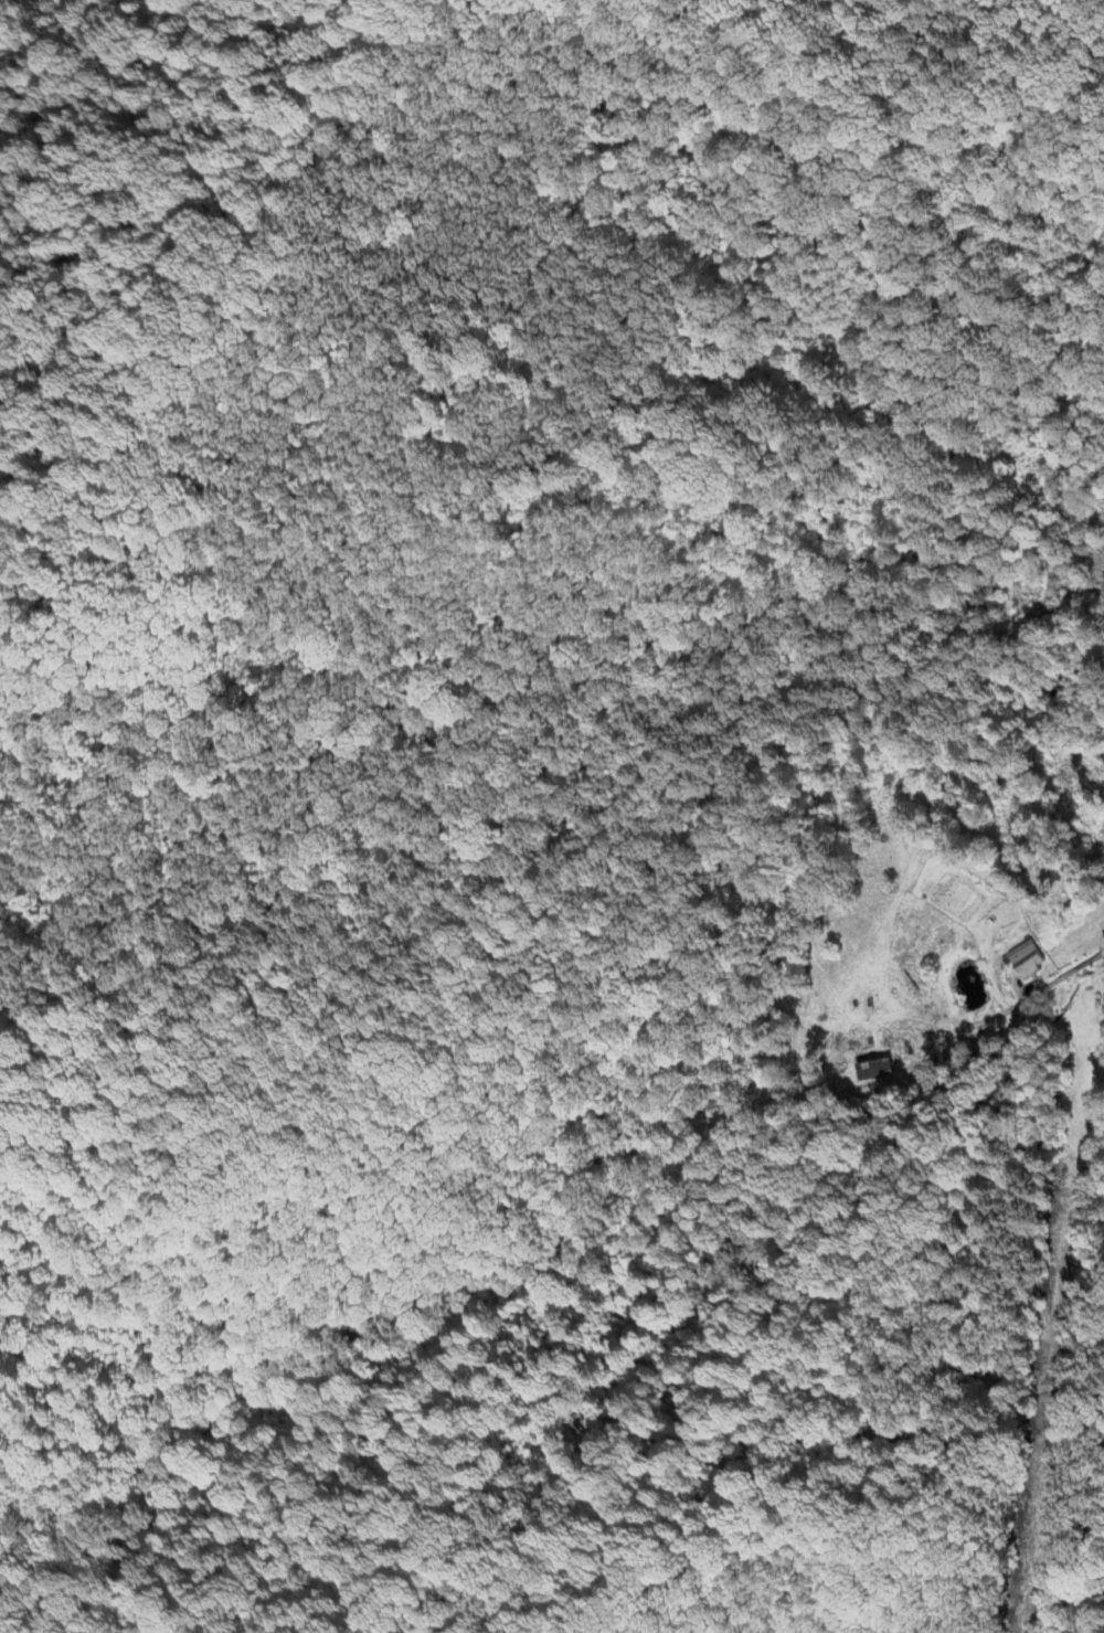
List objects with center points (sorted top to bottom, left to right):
building: (1030, 961)
road: (1057, 979)
building: (881, 1071)

